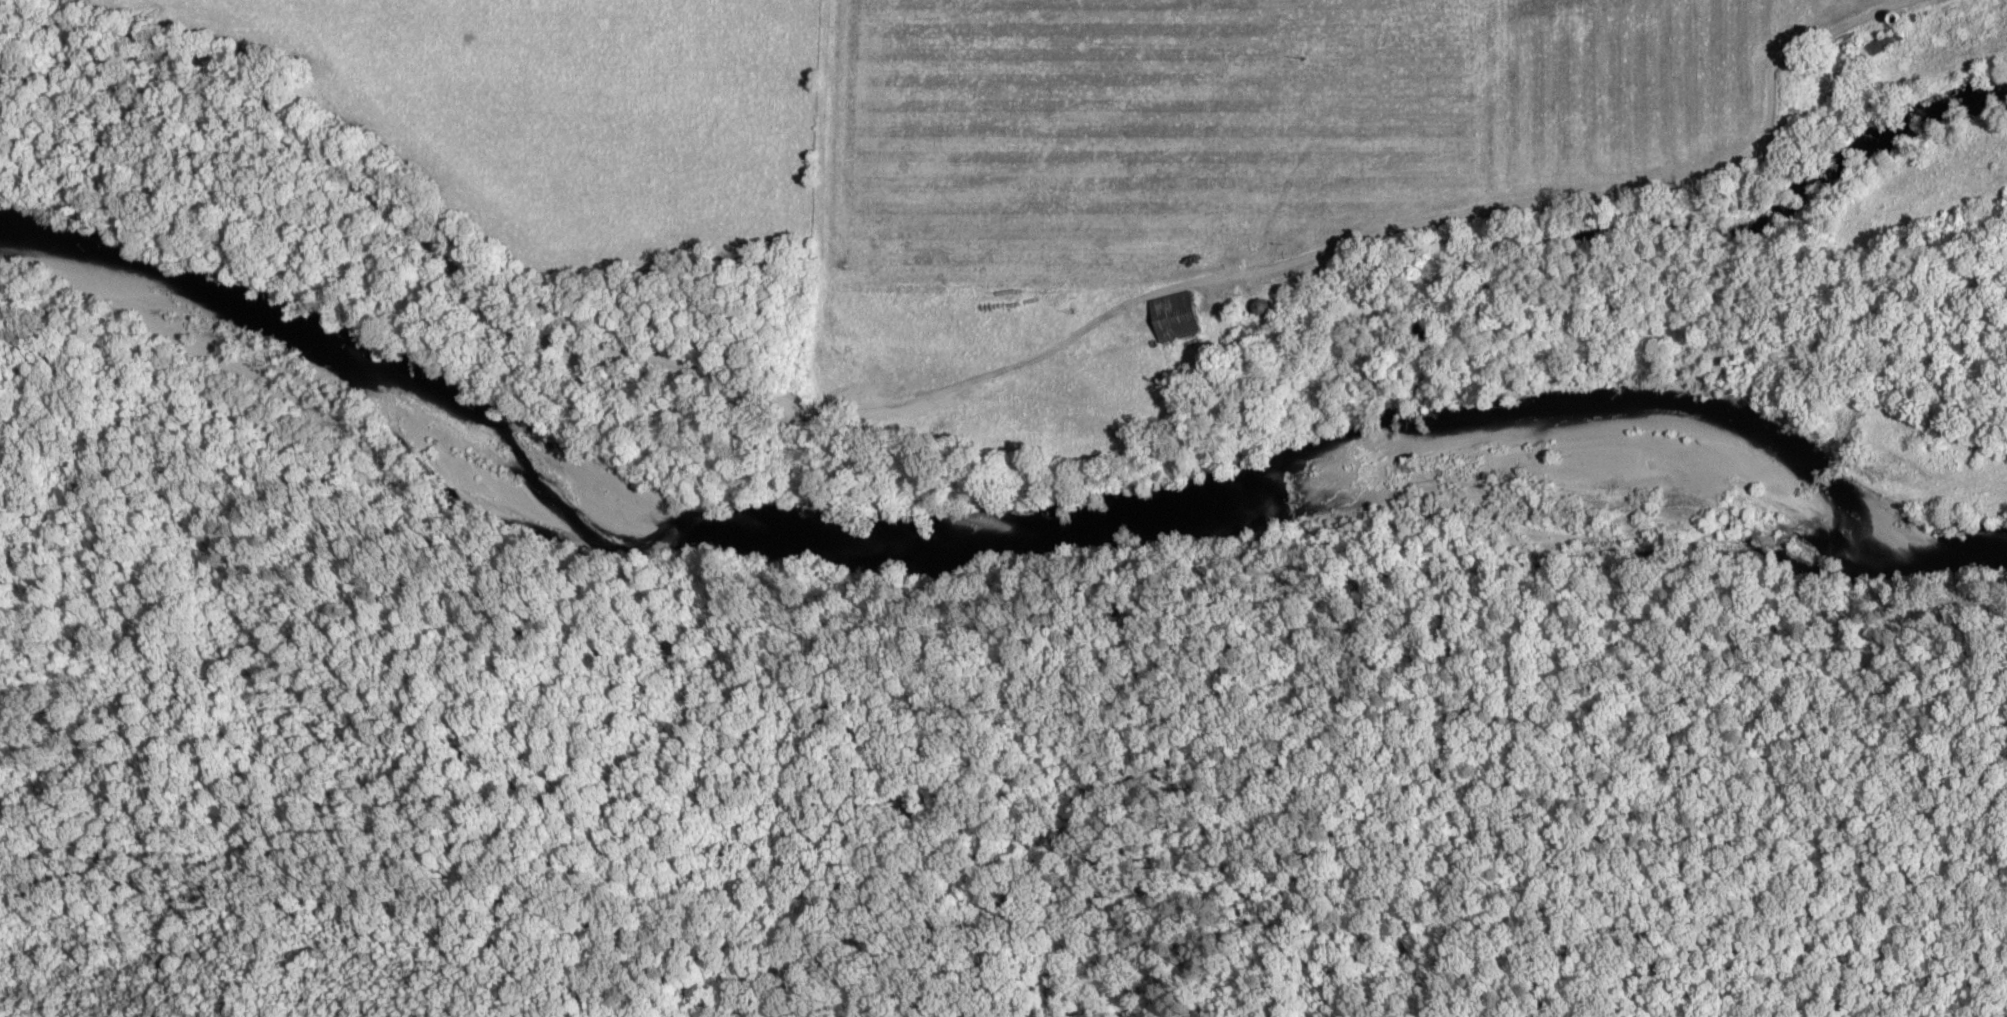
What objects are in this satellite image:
road: (389, 212)
building: (1177, 319)

